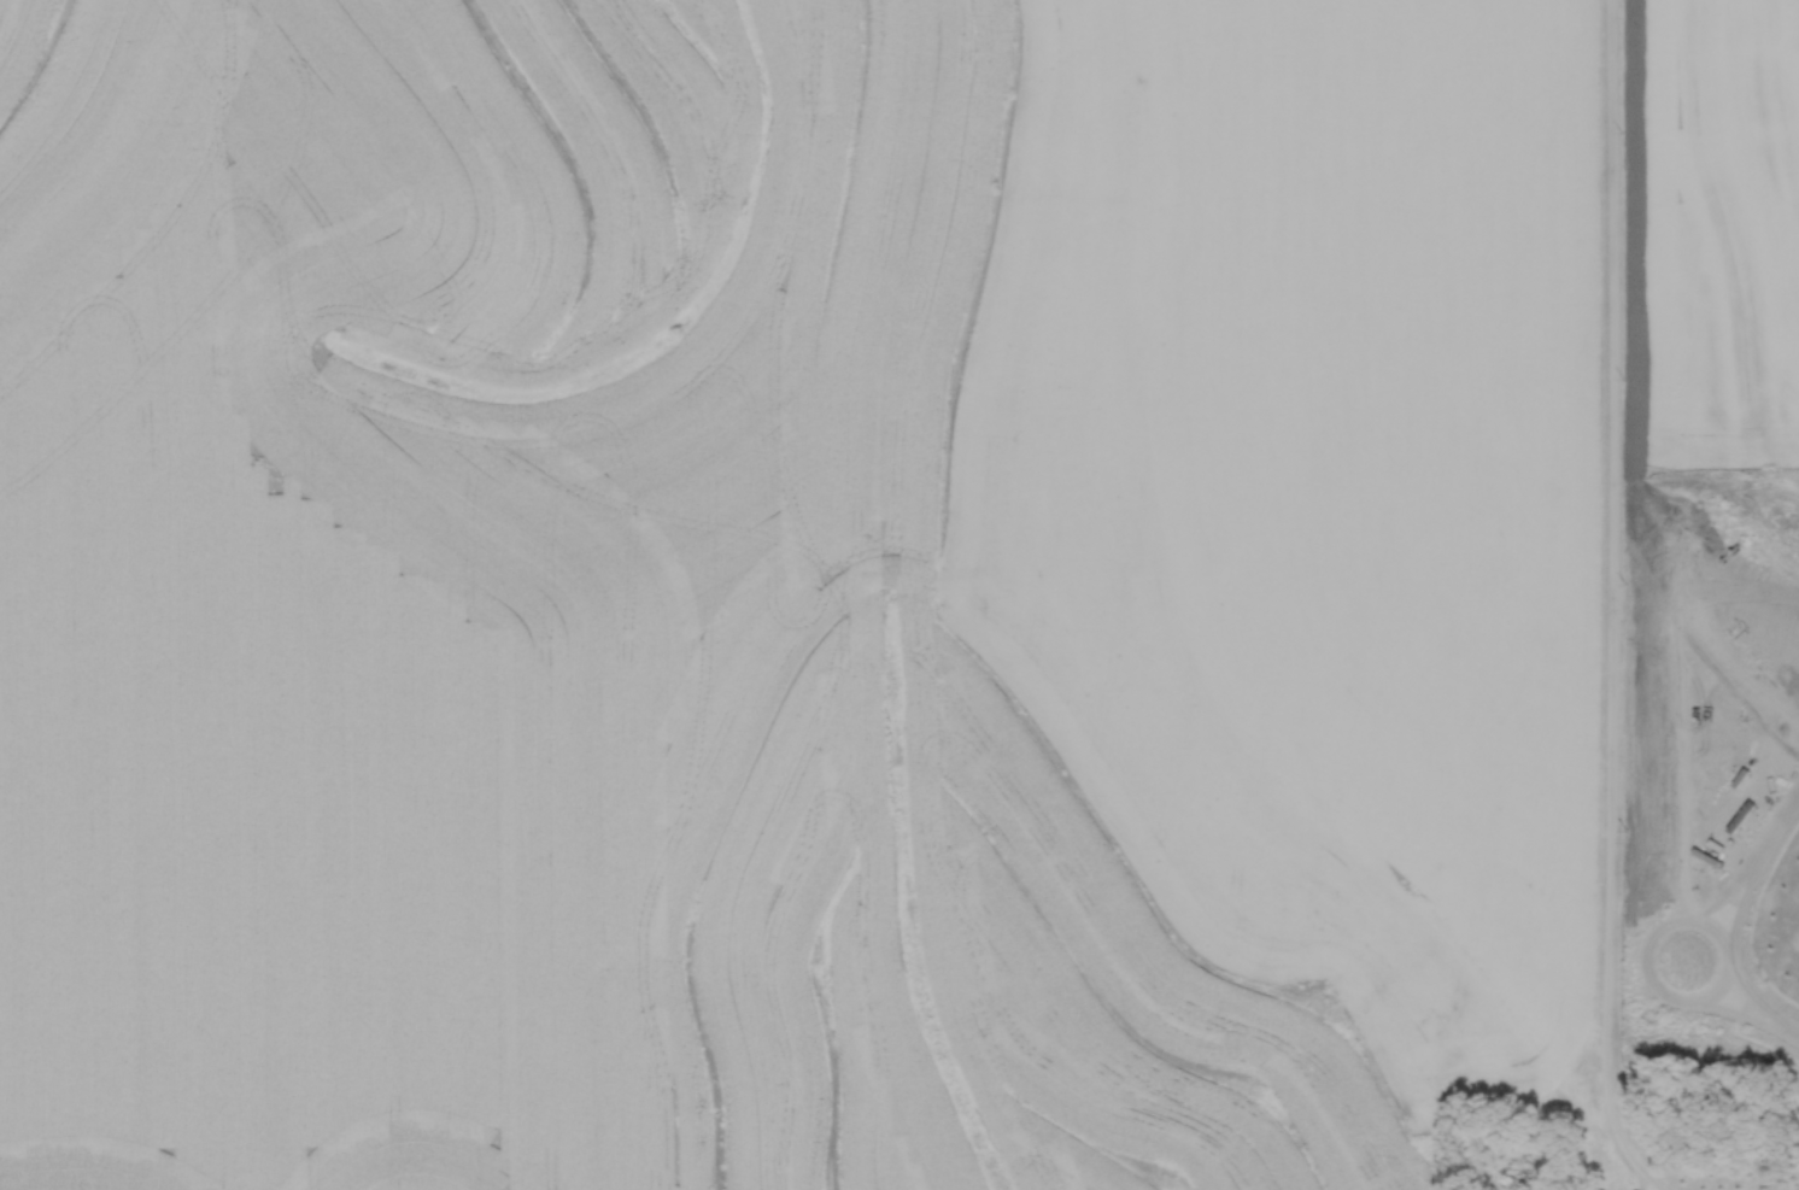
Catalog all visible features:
road: (1610, 606)
road: (1774, 830)
road: (1721, 897)
road: (1734, 911)
road: (1643, 960)
road: (1748, 995)
road: (1731, 1010)
road: (1791, 1032)

